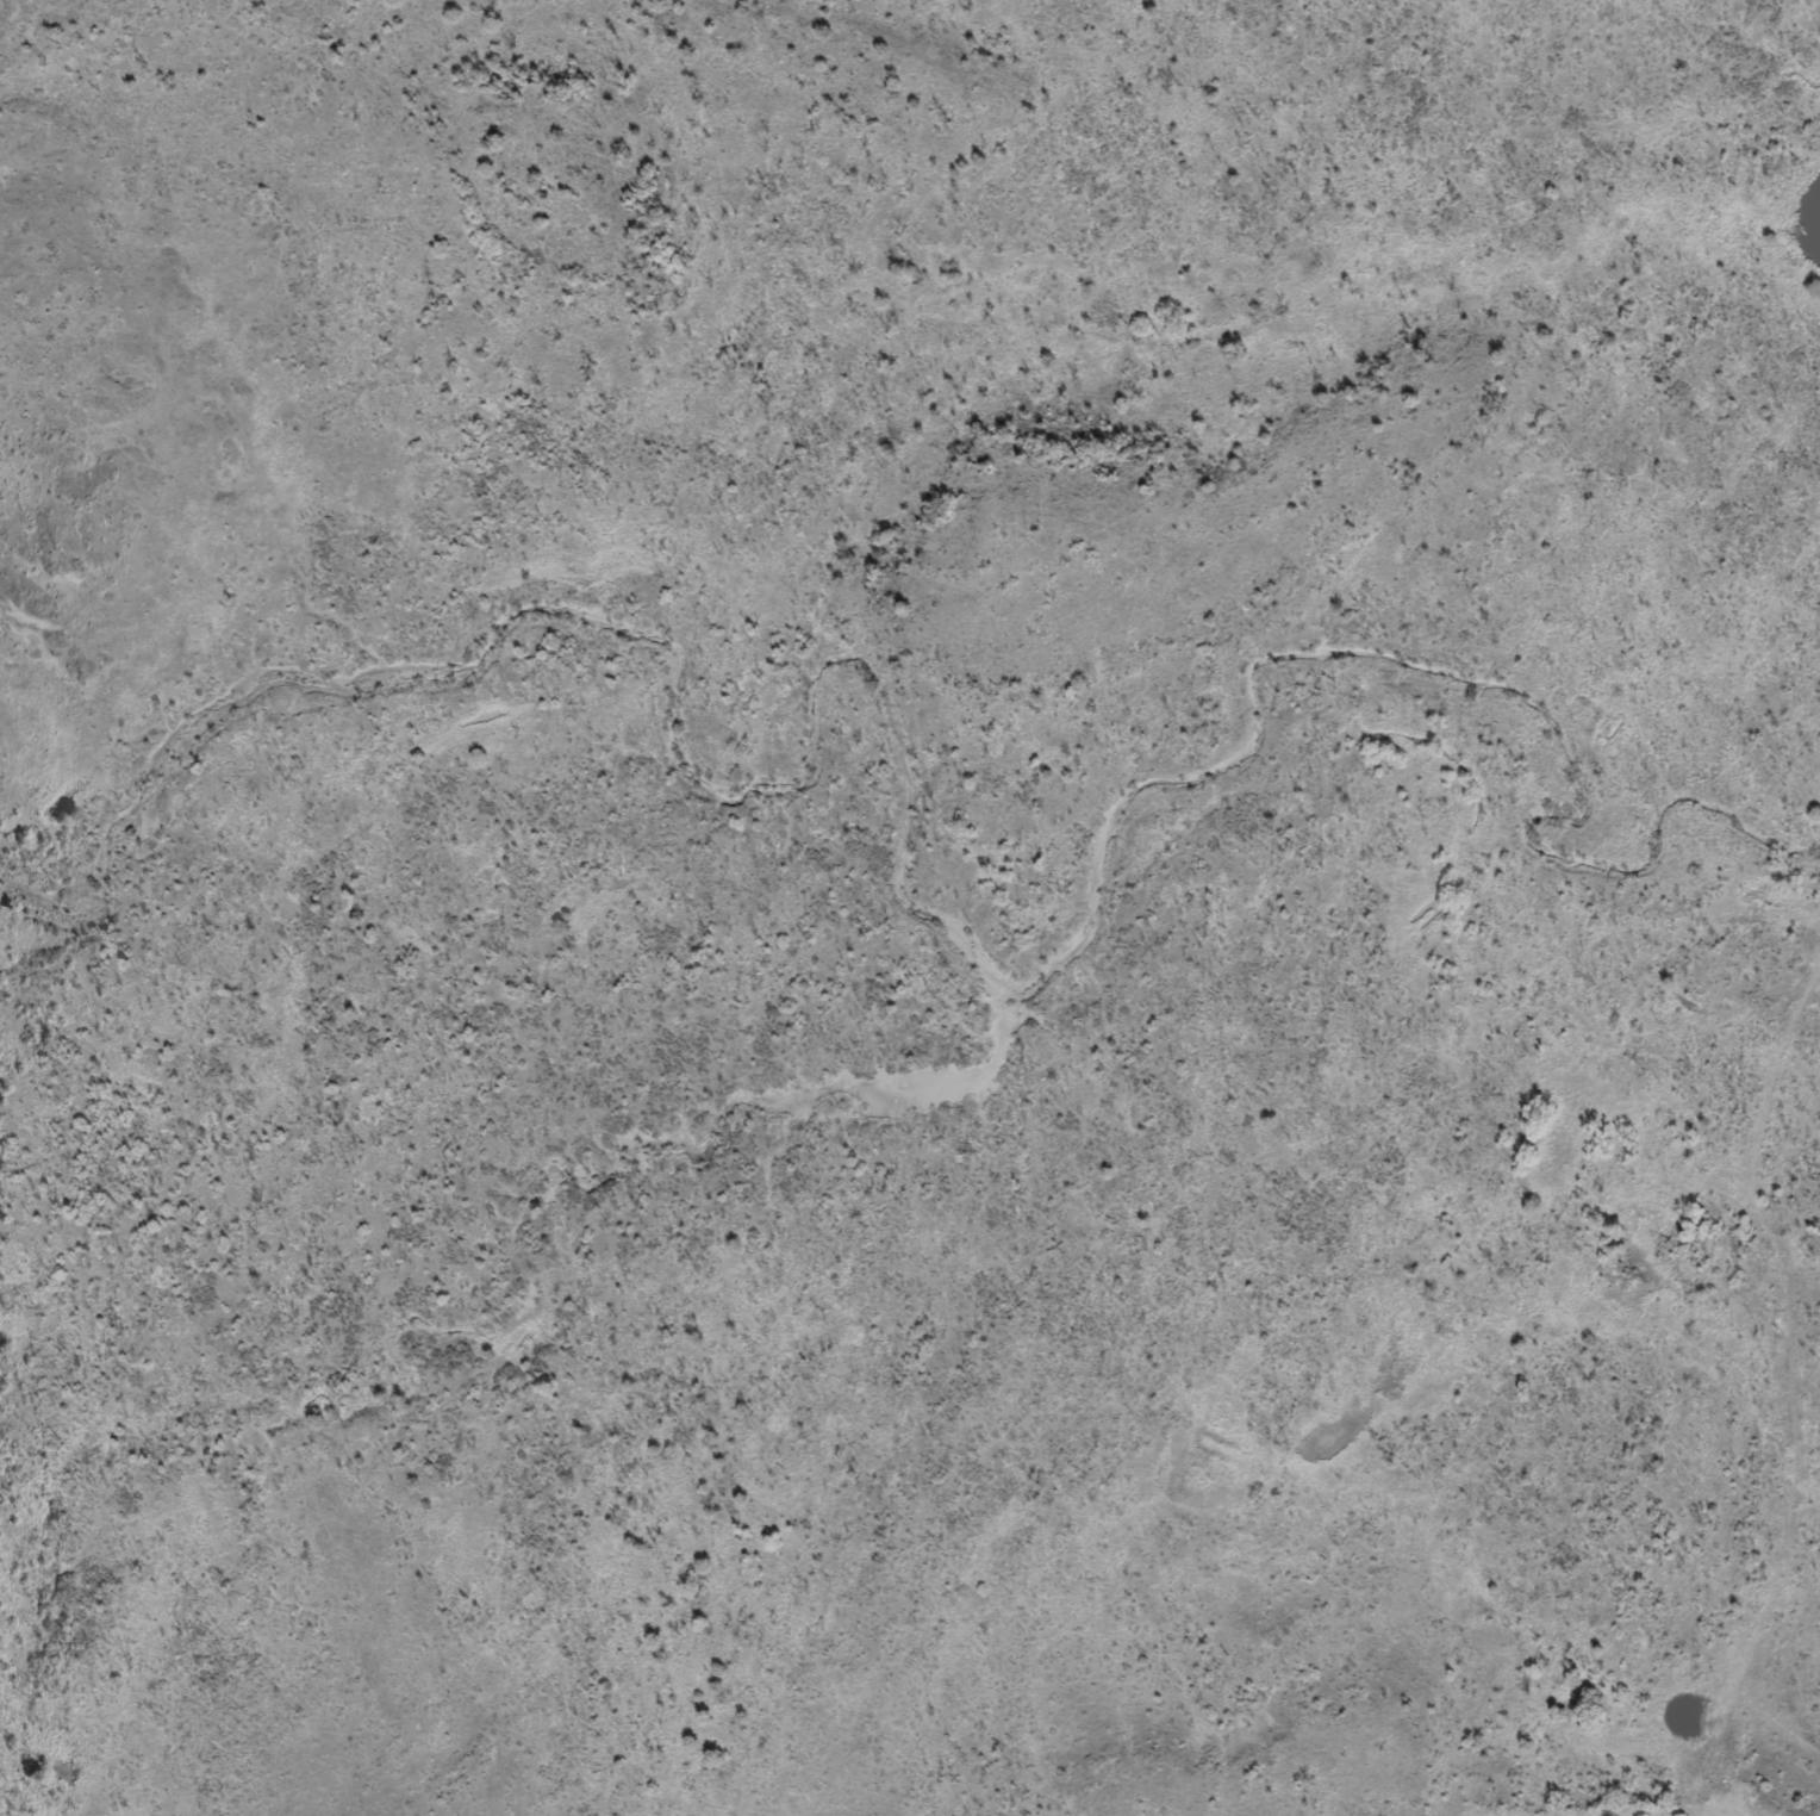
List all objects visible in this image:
road: (46, 627)
road: (1615, 1573)

